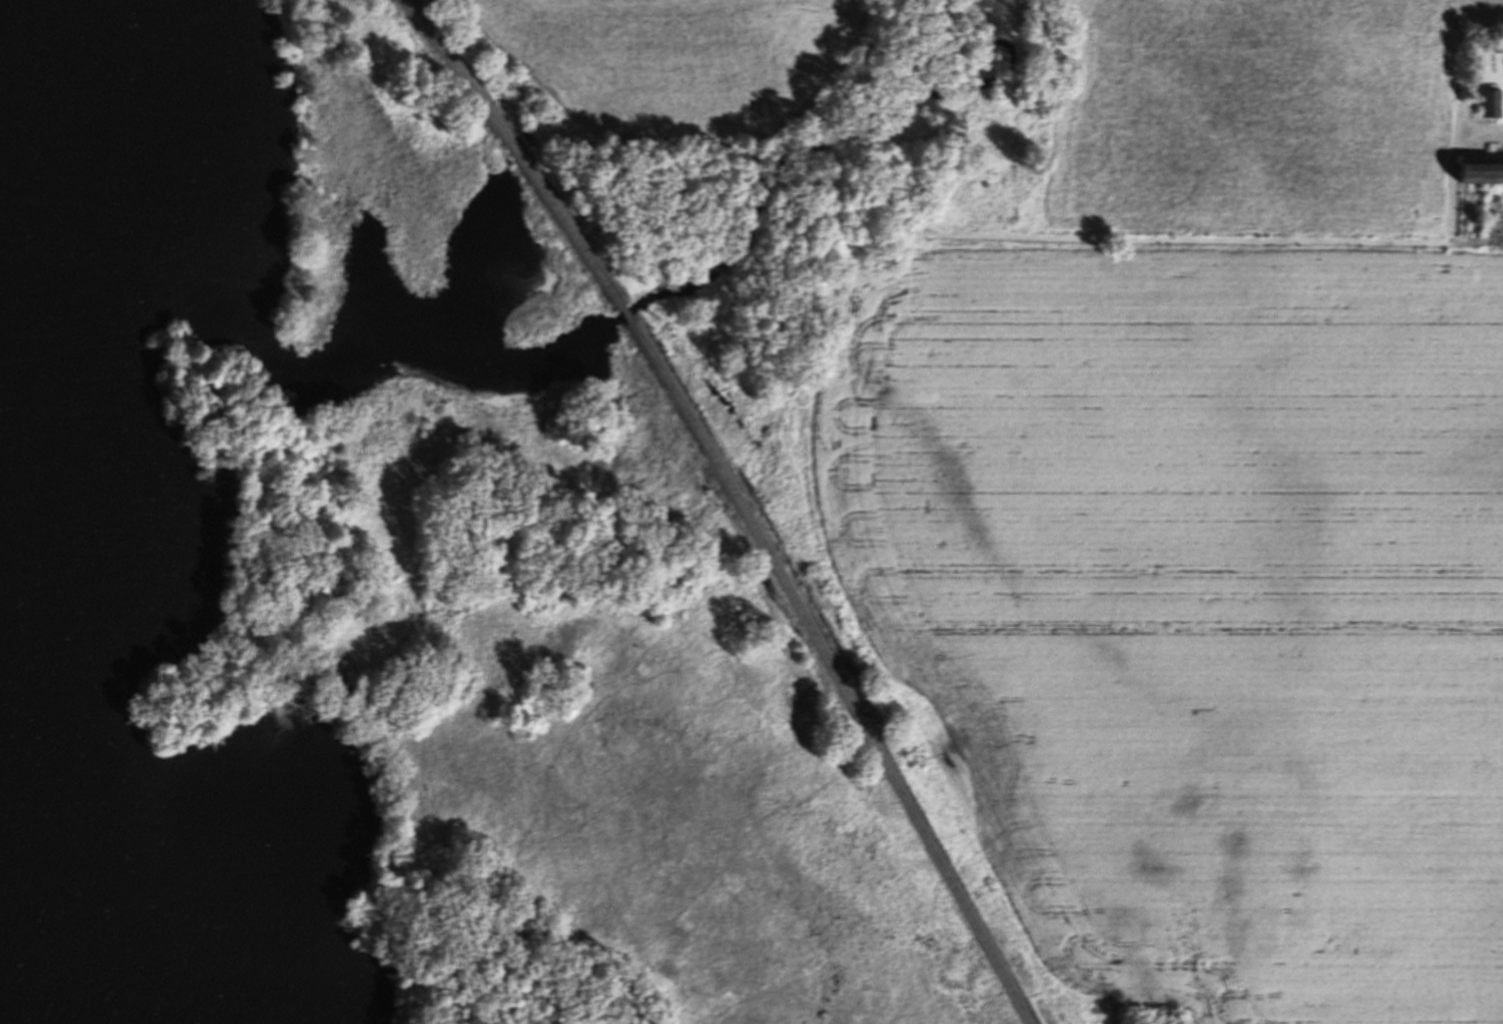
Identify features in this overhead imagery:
building: (1484, 107)
railway: (516, 152)
building: (1474, 175)
railway: (626, 318)
railway: (831, 674)

